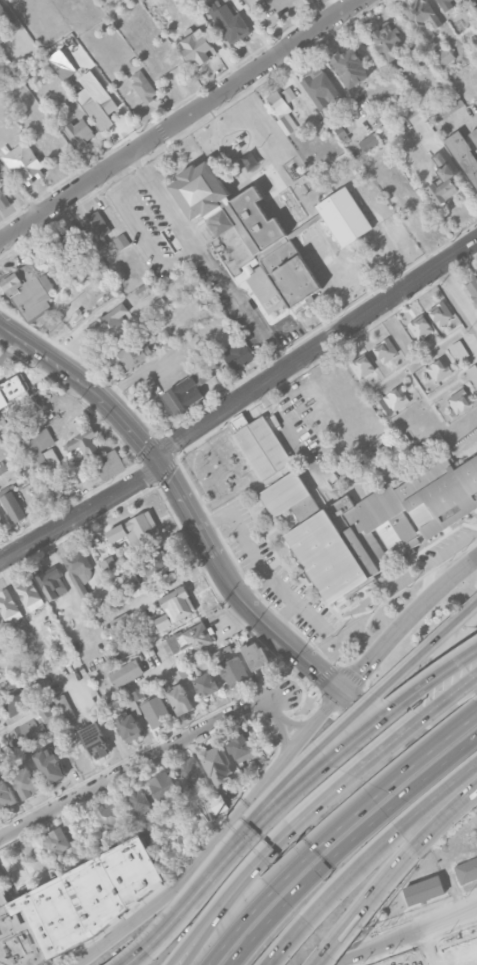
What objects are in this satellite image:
road: (281, 0)
building: (445, 4)
road: (327, 8)
building: (4, 15)
building: (165, 16)
building: (422, 16)
building: (229, 20)
building: (389, 40)
building: (198, 46)
building: (445, 55)
building: (61, 63)
building: (351, 65)
building: (143, 85)
building: (321, 88)
building: (288, 93)
building: (96, 99)
building: (282, 111)
building: (414, 116)
road: (179, 120)
building: (79, 130)
building: (474, 134)
building: (369, 141)
building: (464, 153)
building: (342, 160)
building: (24, 162)
building: (443, 180)
road: (20, 192)
building: (4, 199)
building: (344, 216)
building: (420, 216)
building: (96, 227)
road: (143, 229)
building: (246, 230)
building: (121, 241)
building: (318, 245)
building: (40, 247)
building: (68, 247)
road: (208, 260)
building: (351, 274)
building: (473, 287)
building: (28, 289)
building: (143, 290)
road: (458, 292)
building: (441, 312)
building: (109, 321)
building: (421, 325)
road: (277, 328)
road: (315, 347)
building: (385, 349)
building: (459, 350)
building: (133, 351)
building: (239, 355)
building: (362, 365)
building: (439, 369)
building: (473, 374)
road: (135, 377)
road: (87, 385)
building: (11, 388)
building: (186, 391)
building: (396, 398)
building: (460, 399)
building: (23, 406)
road: (285, 425)
building: (83, 443)
building: (263, 447)
building: (38, 449)
traffic signals: (159, 461)
building: (109, 463)
building: (56, 490)
building: (13, 505)
road: (82, 514)
building: (0, 516)
building: (370, 522)
building: (0, 523)
building: (137, 531)
building: (156, 562)
building: (109, 564)
road: (260, 564)
building: (77, 567)
building: (51, 582)
building: (30, 593)
building: (177, 603)
building: (104, 605)
building: (8, 606)
road: (282, 614)
road: (405, 621)
building: (188, 639)
road: (287, 644)
building: (256, 655)
building: (233, 670)
building: (126, 673)
building: (207, 684)
traffic signals: (341, 692)
building: (32, 693)
building: (139, 694)
building: (14, 700)
building: (180, 700)
building: (156, 711)
road: (476, 712)
road: (476, 712)
road: (427, 713)
road: (347, 719)
building: (34, 725)
building: (130, 727)
building: (96, 740)
building: (239, 744)
road: (154, 755)
building: (215, 761)
building: (50, 765)
building: (189, 772)
building: (26, 781)
building: (164, 785)
building: (6, 795)
road: (290, 795)
building: (139, 798)
building: (211, 806)
building: (112, 815)
building: (147, 825)
road: (334, 831)
road: (219, 835)
building: (59, 841)
road: (345, 843)
road: (264, 850)
road: (272, 851)
road: (365, 857)
parking lot: (308, 858)
road: (391, 870)
building: (466, 871)
building: (424, 890)
building: (73, 903)
road: (475, 908)
road: (475, 908)
road: (405, 936)
track: (443, 954)

